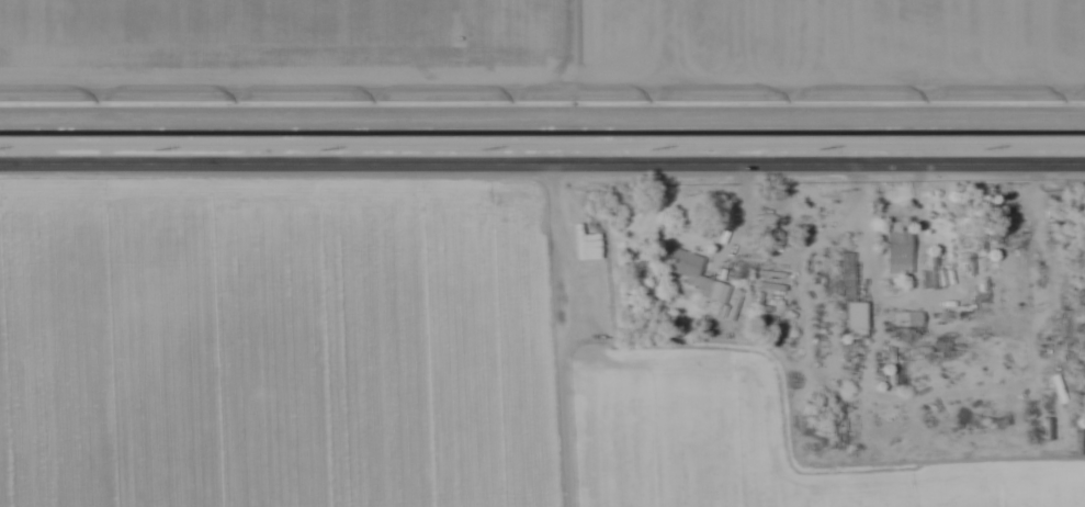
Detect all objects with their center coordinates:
road: (542, 160)
building: (896, 252)
building: (692, 277)
building: (898, 318)
building: (854, 320)
crop: (279, 349)
crop: (726, 446)

